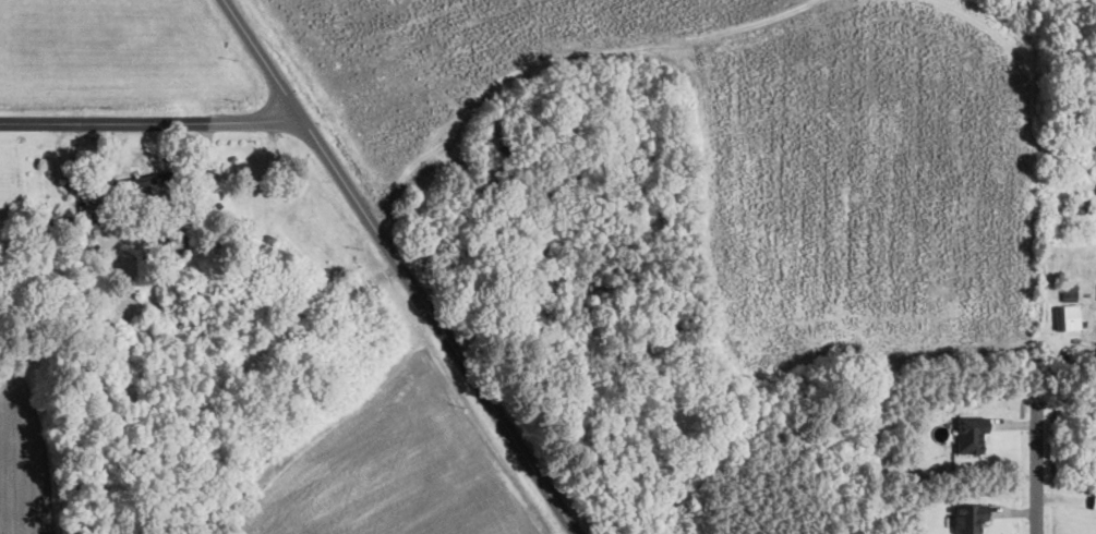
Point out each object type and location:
road: (149, 122)
building: (495, 126)
building: (134, 160)
building: (149, 179)
building: (84, 183)
building: (174, 242)
road: (398, 267)
building: (188, 284)
building: (1067, 316)
building: (973, 435)
road: (1036, 465)
building: (1094, 501)
building: (969, 517)

